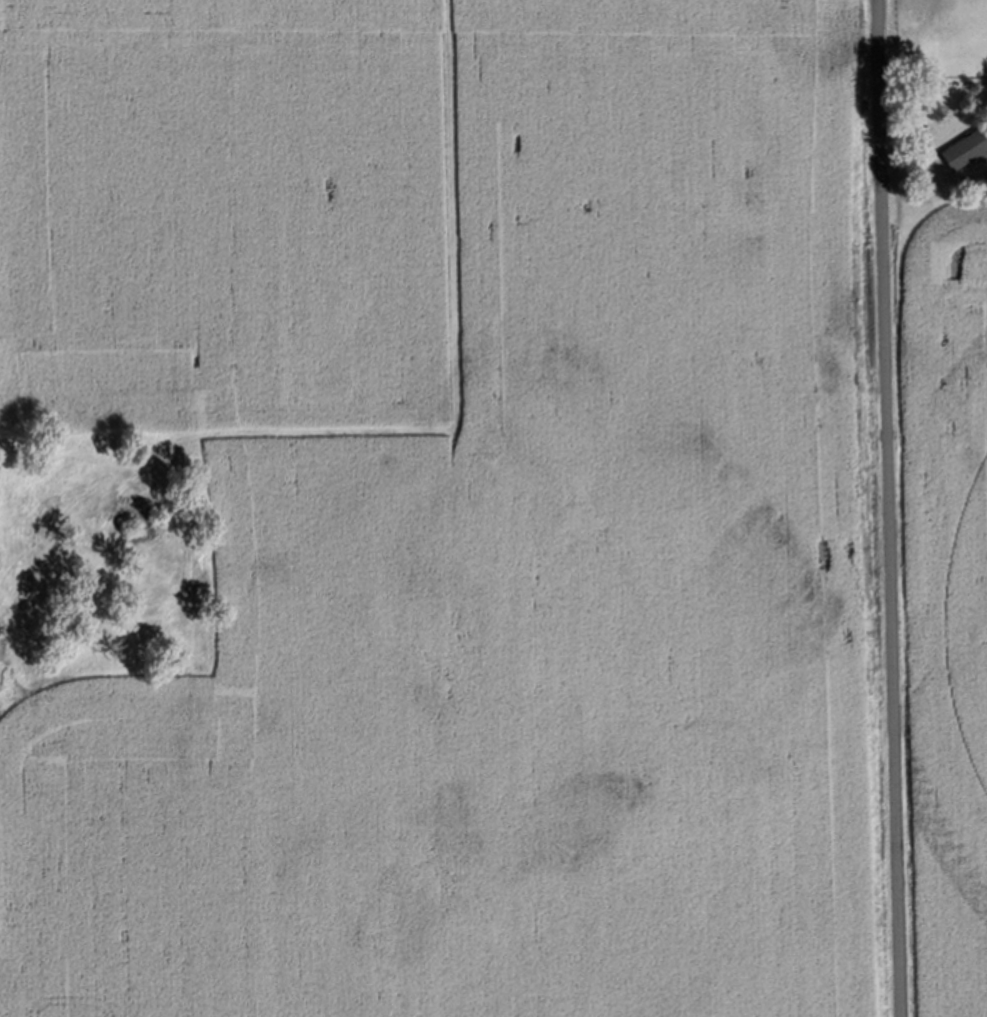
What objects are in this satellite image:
building: (963, 149)
road: (886, 508)

